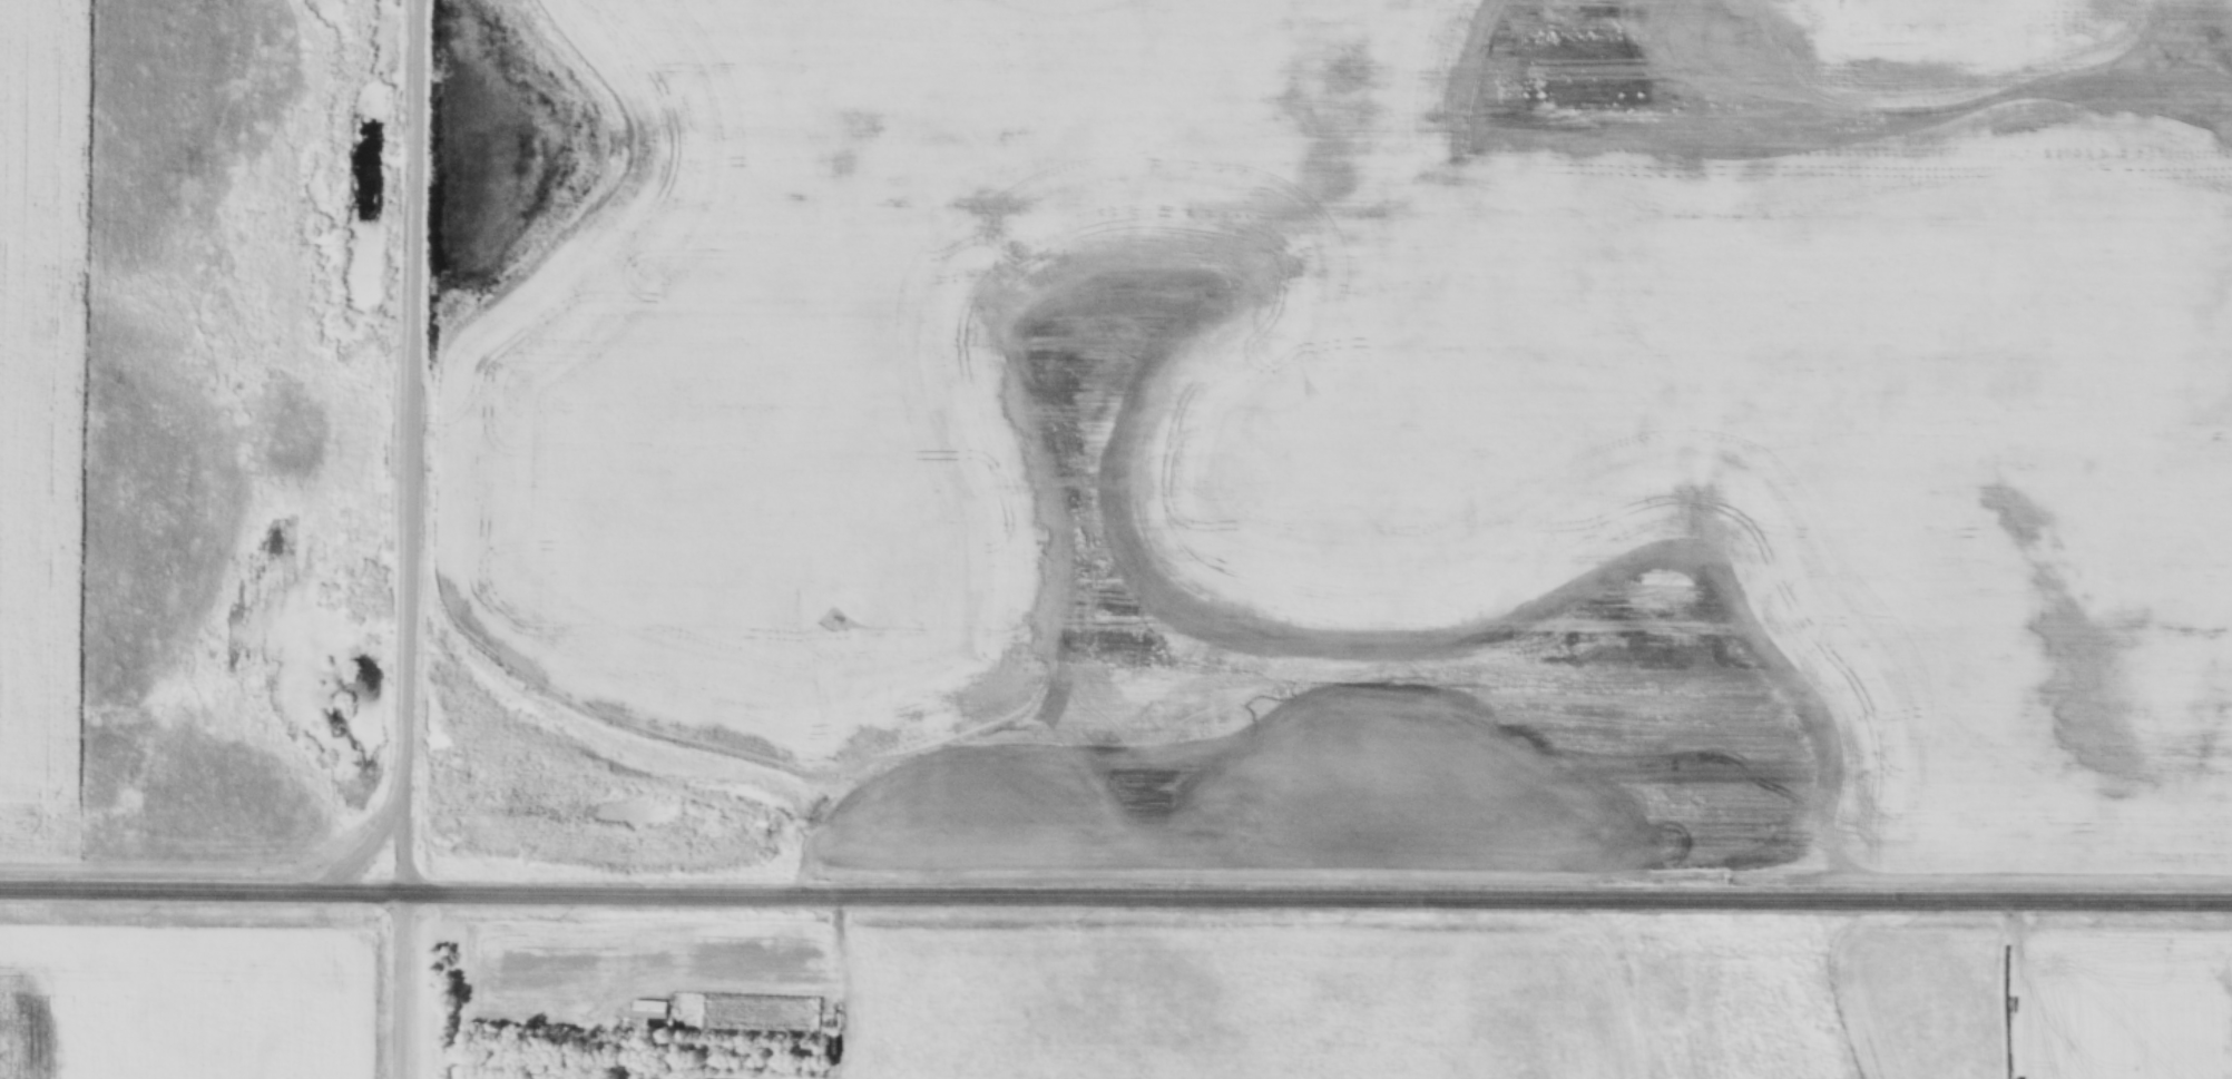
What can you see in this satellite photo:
road: (407, 539)
road: (365, 851)
road: (1115, 900)
building: (649, 1010)

